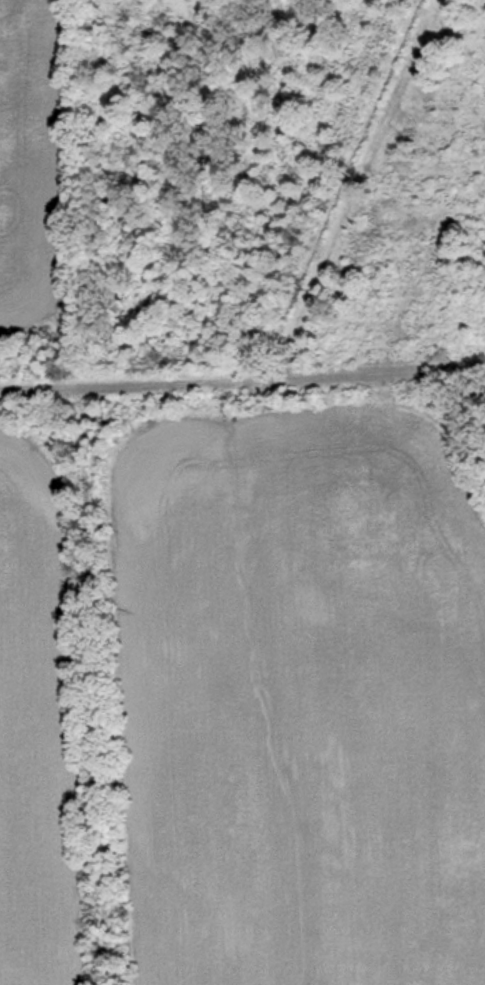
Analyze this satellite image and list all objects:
road: (242, 379)
road: (81, 685)

